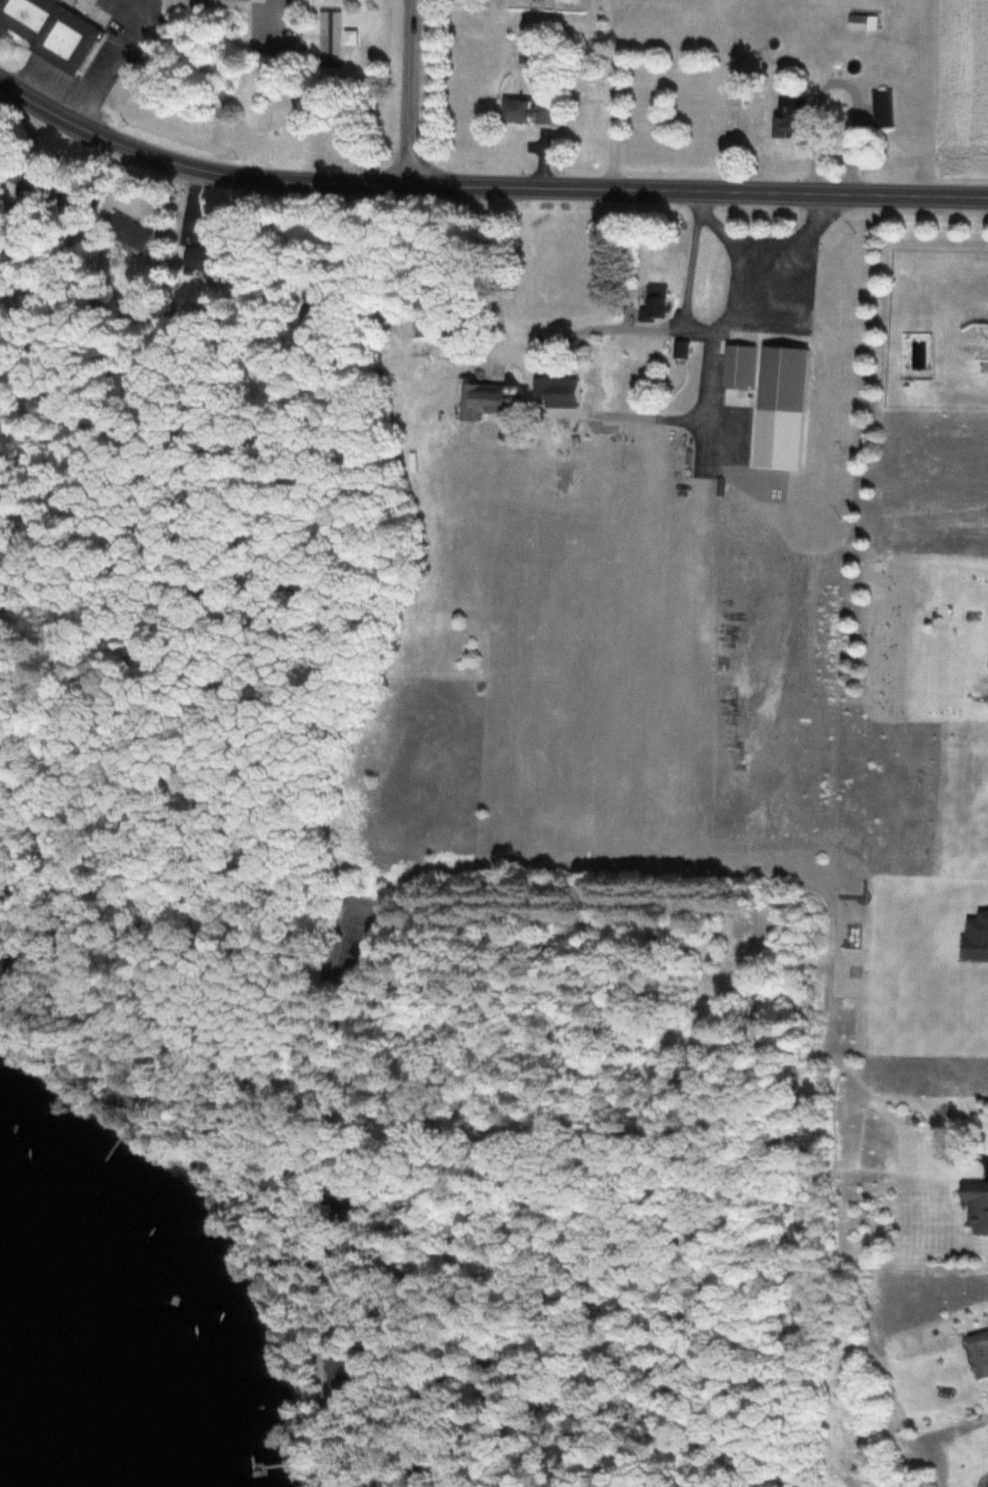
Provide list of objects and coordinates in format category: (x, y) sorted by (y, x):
building: (26, 13)
building: (861, 21)
road: (293, 23)
parking lot: (268, 24)
building: (66, 36)
parking lot: (94, 55)
park: (232, 74)
road: (409, 91)
building: (880, 108)
building: (524, 110)
building: (788, 115)
building: (24, 175)
road: (483, 184)
building: (126, 230)
building: (1, 239)
road: (691, 255)
building: (653, 305)
building: (315, 319)
building: (443, 330)
building: (736, 365)
building: (781, 377)
building: (553, 386)
road: (46, 390)
building: (483, 398)
park: (351, 936)
road: (394, 1031)
building: (122, 1094)
building: (341, 1183)
building: (975, 1204)
building: (978, 1352)
building: (339, 1374)

